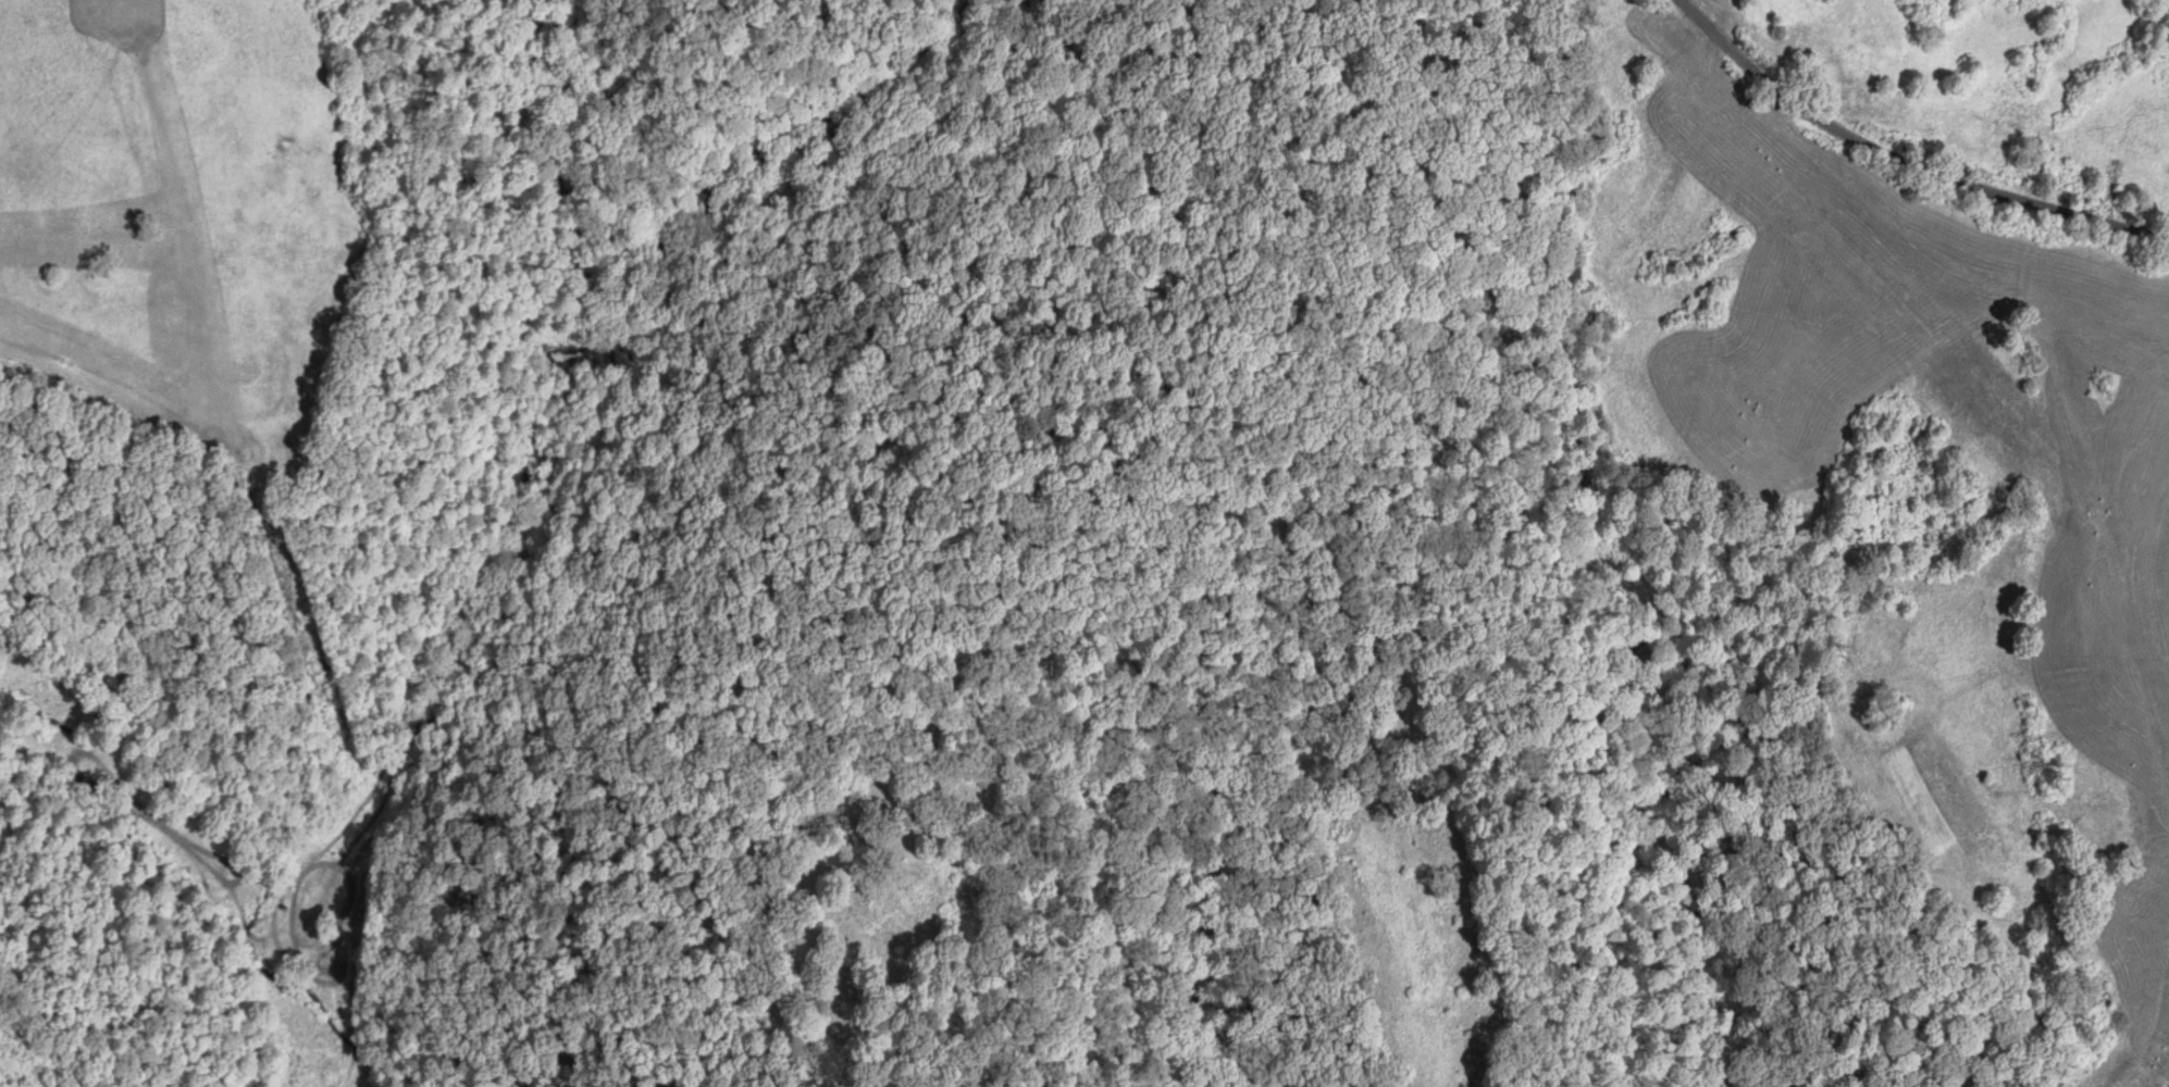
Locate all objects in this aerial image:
road: (1906, 159)

